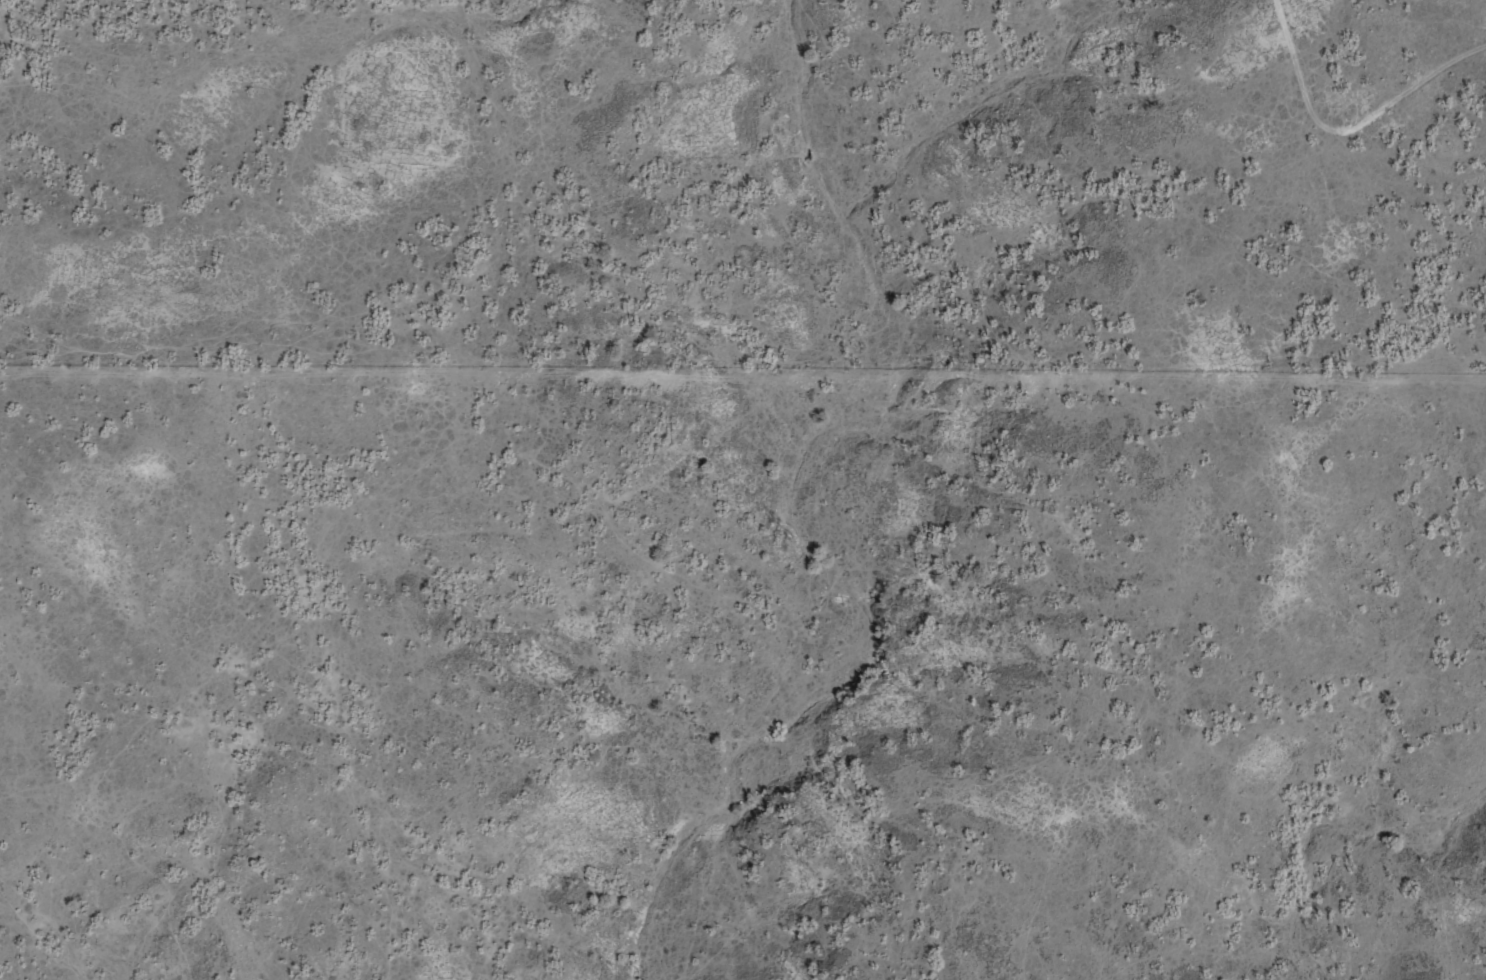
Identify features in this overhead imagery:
road: (1349, 114)
road: (772, 414)

